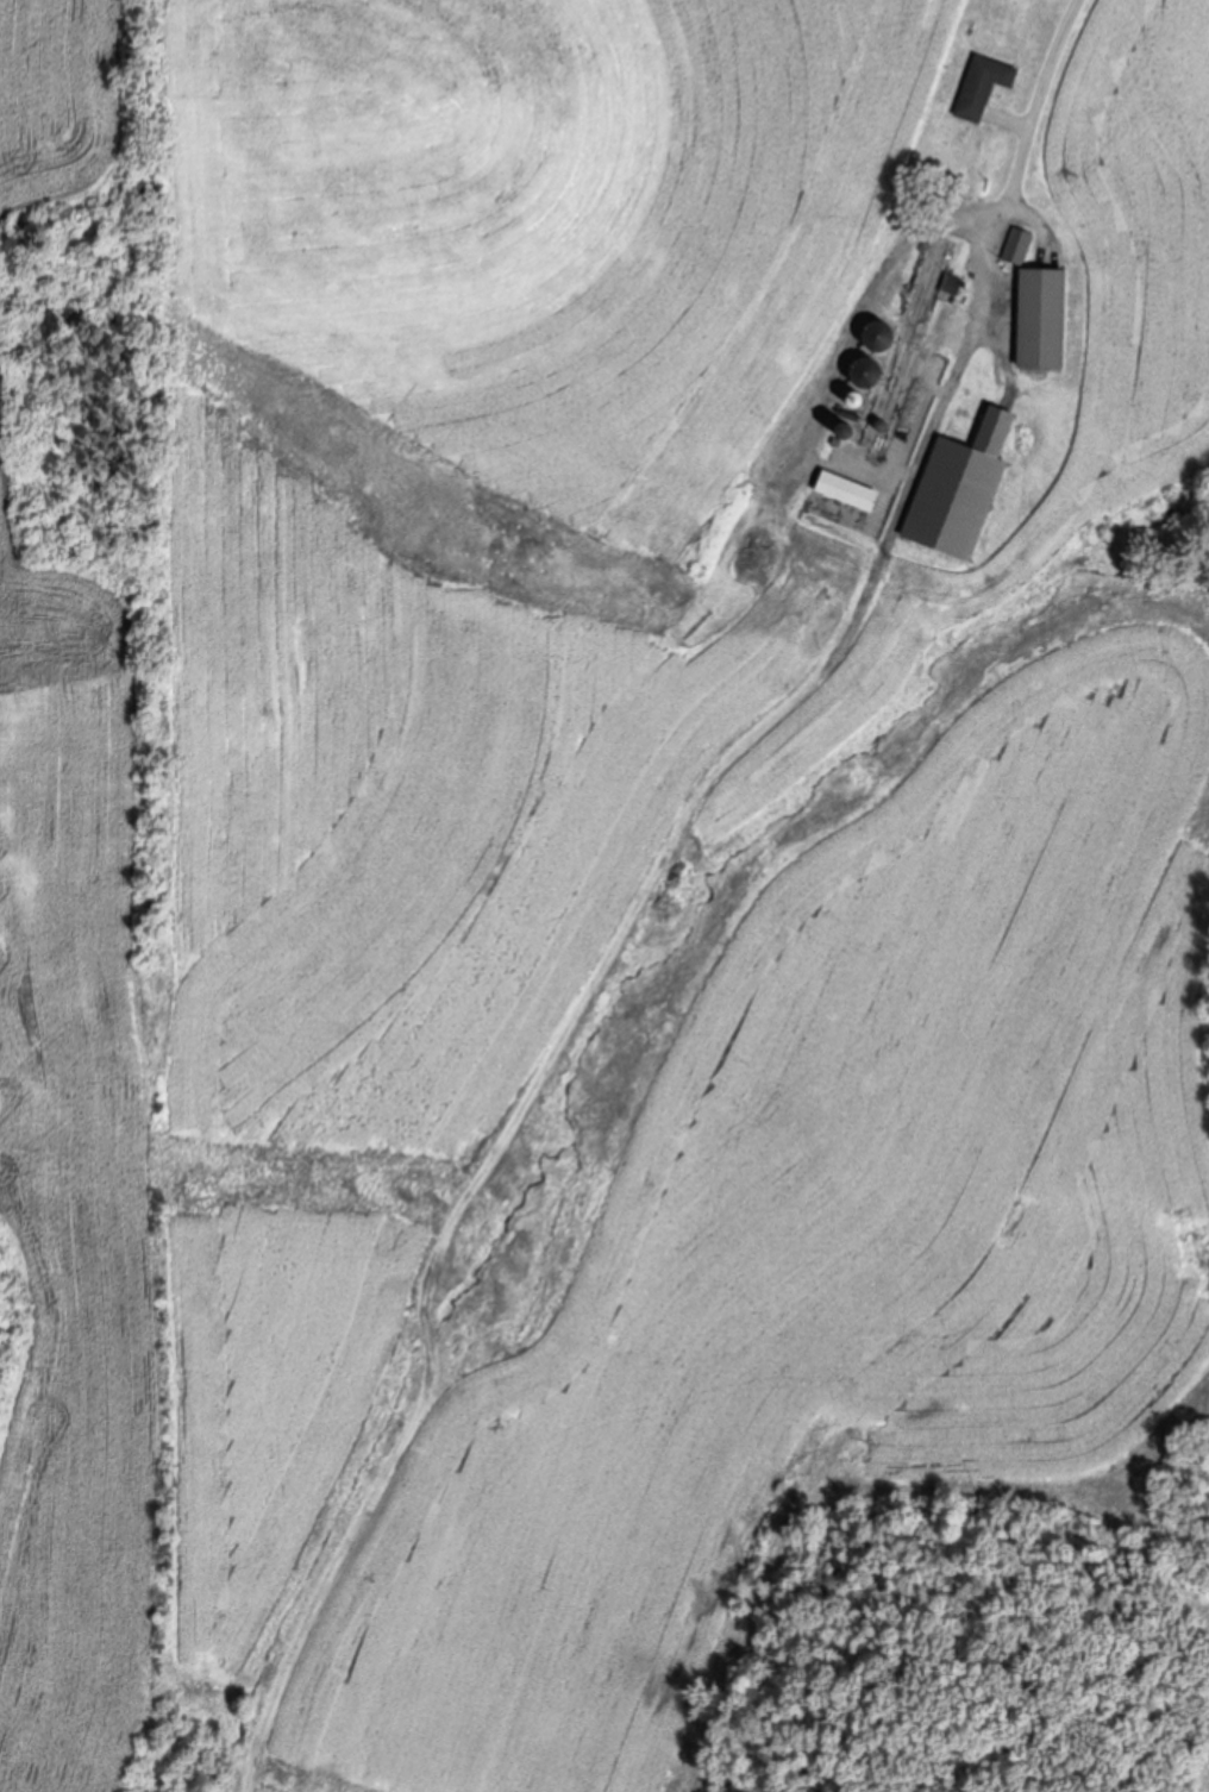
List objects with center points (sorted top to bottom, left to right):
building: (983, 86)
building: (1014, 245)
building: (1042, 318)
building: (903, 344)
building: (961, 487)
building: (850, 490)
building: (764, 549)
road: (644, 886)

